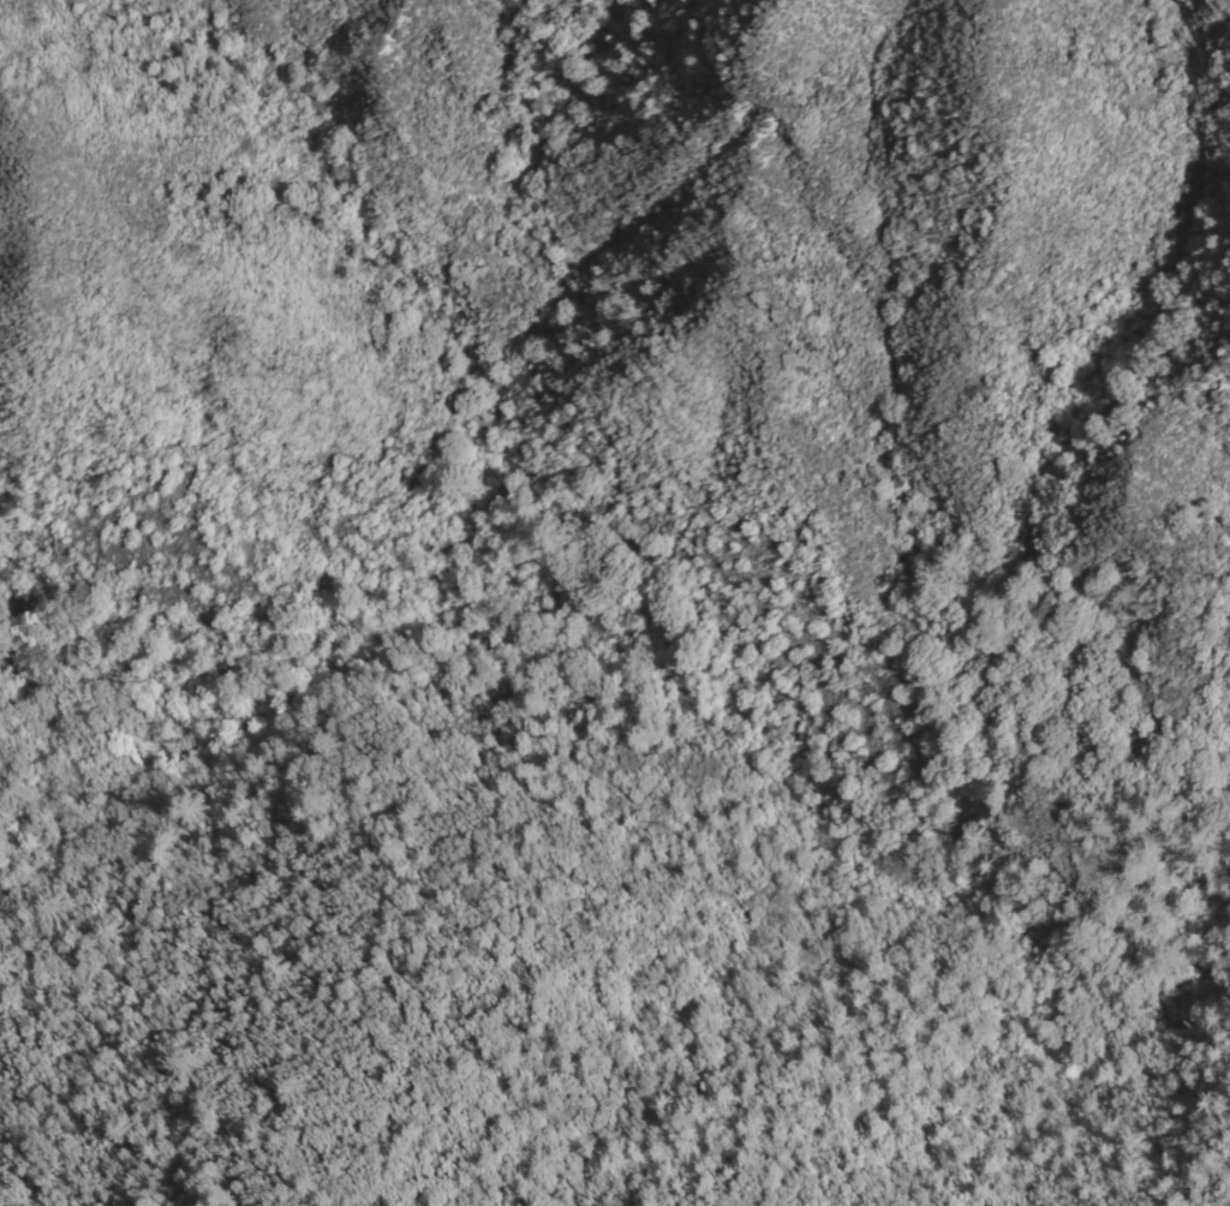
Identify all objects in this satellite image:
road: (264, 769)

